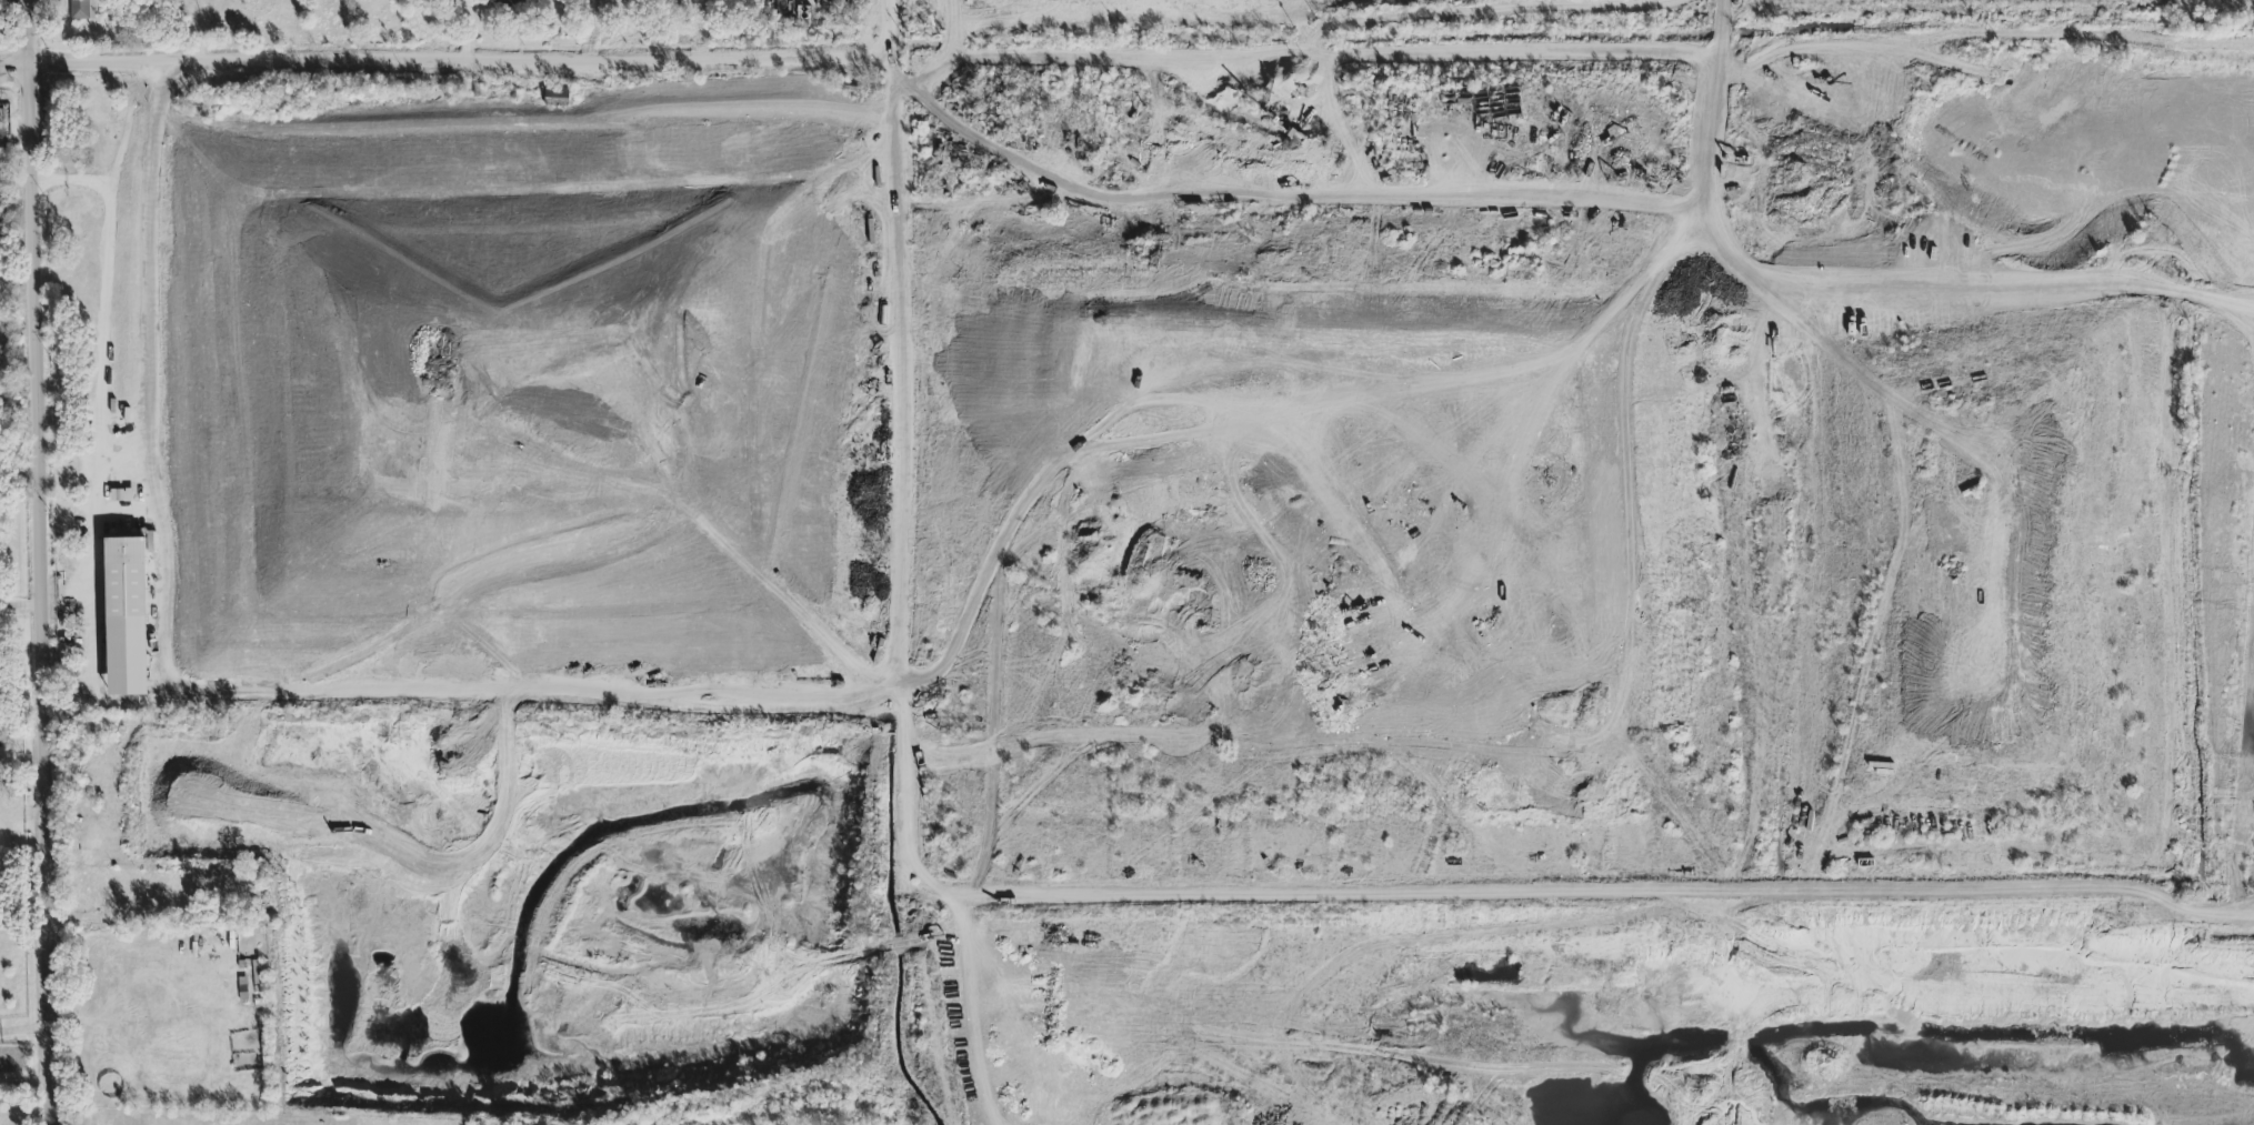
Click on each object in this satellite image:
building: (517, 1)
building: (82, 10)
road: (1573, 50)
road: (460, 62)
road: (14, 67)
building: (557, 98)
road: (1706, 123)
road: (1345, 130)
road: (16, 179)
road: (1282, 205)
road: (970, 212)
road: (1719, 237)
road: (1993, 292)
road: (104, 295)
road: (146, 322)
landfill: (522, 390)
road: (905, 474)
building: (122, 496)
road: (41, 562)
road: (21, 607)
building: (126, 617)
road: (445, 687)
building: (241, 895)
building: (323, 898)
road: (26, 1032)
road: (26, 1083)

